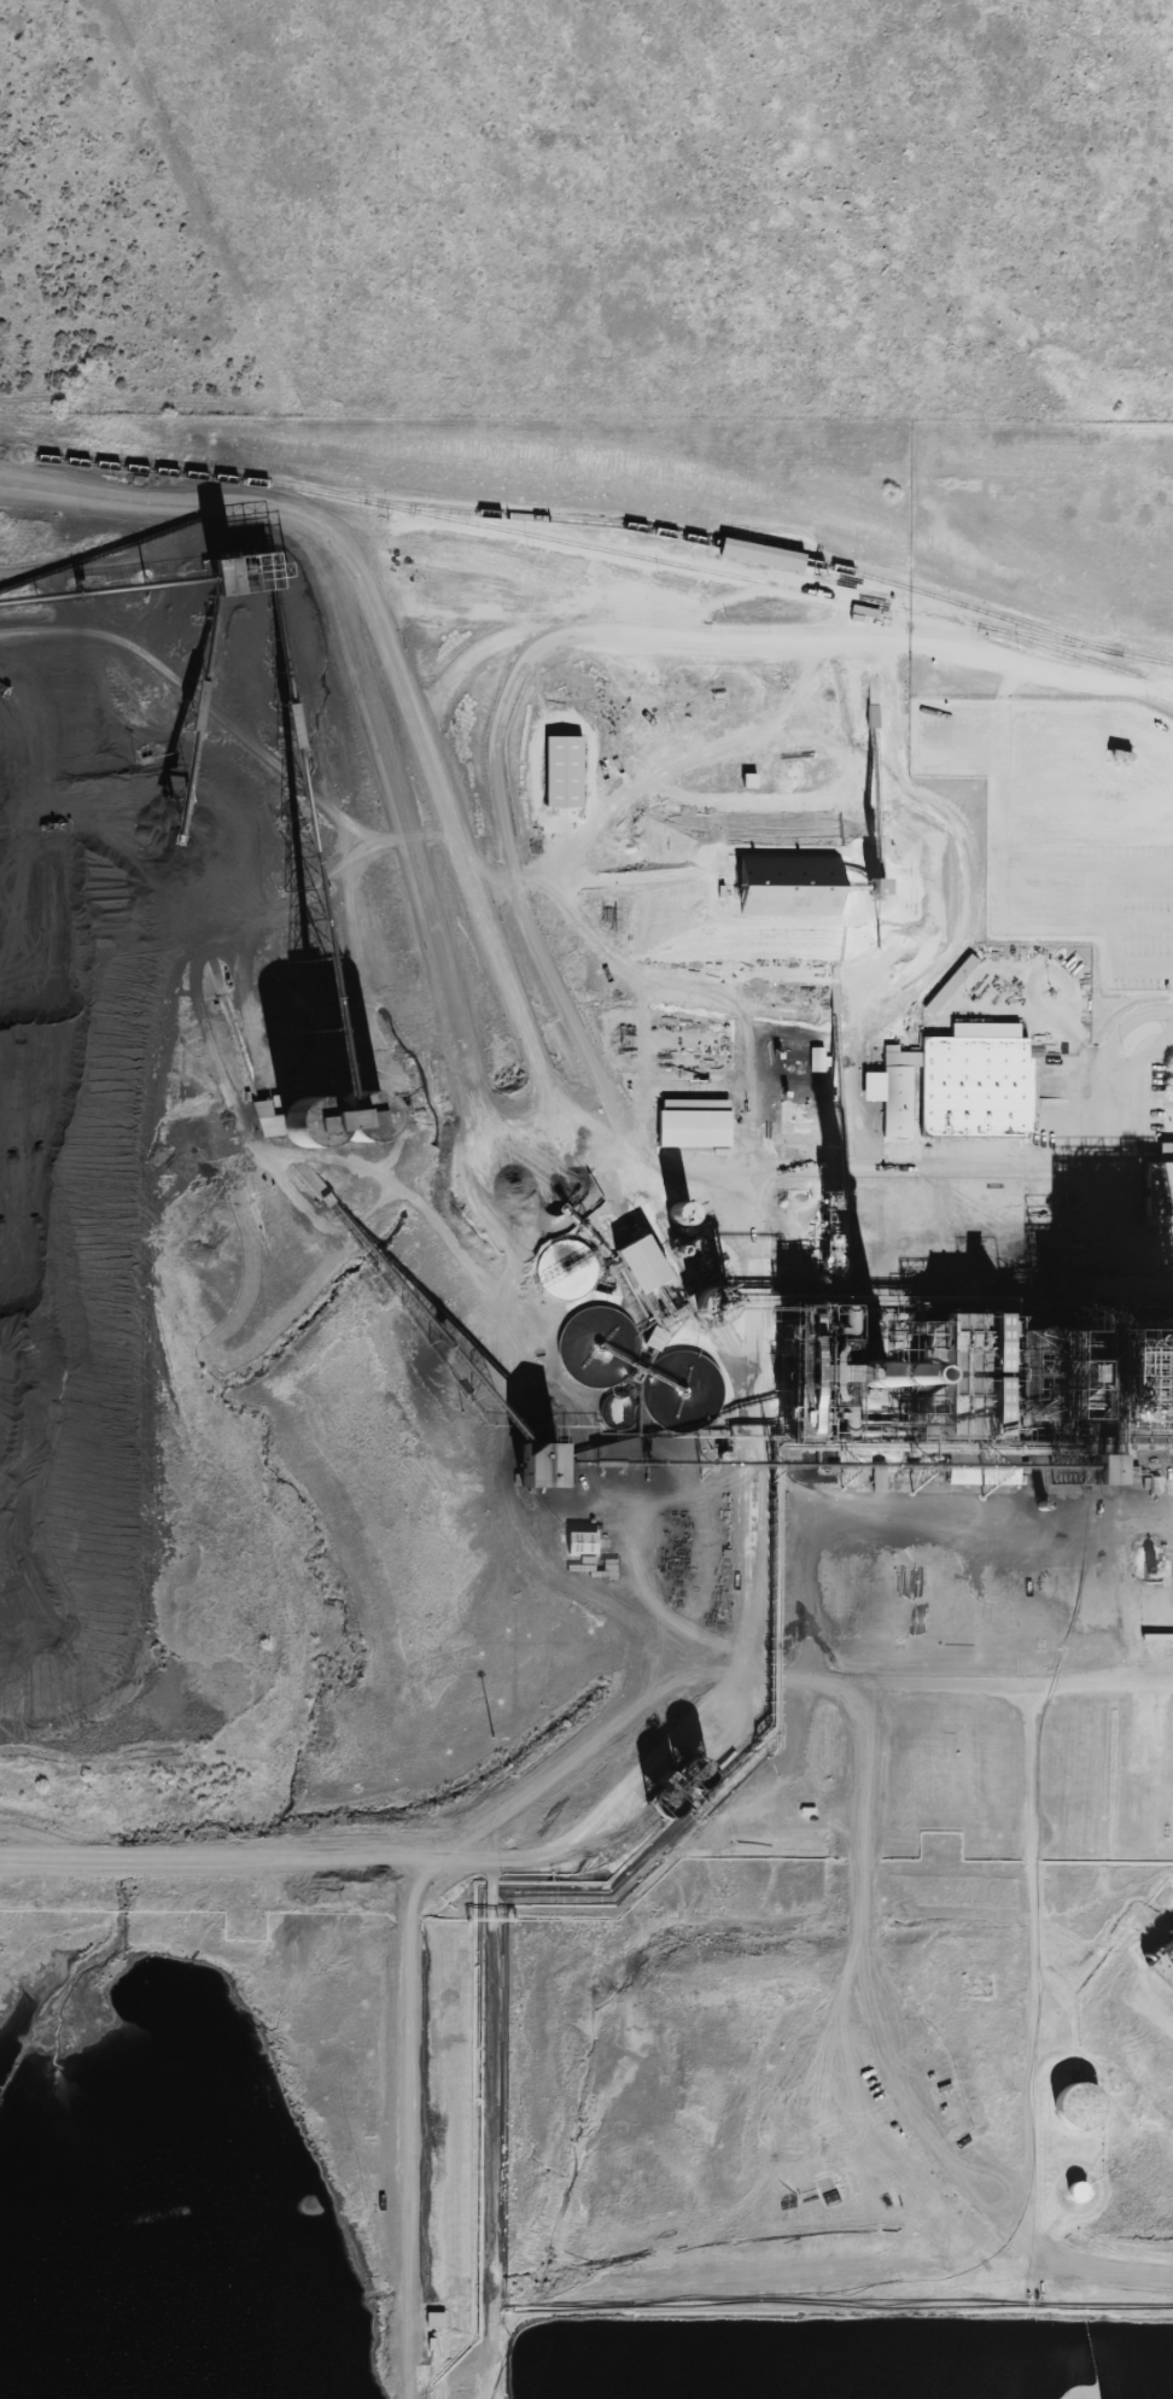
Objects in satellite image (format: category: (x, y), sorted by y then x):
railway: (611, 551)
building: (758, 558)
railway: (778, 560)
railway: (1058, 644)
road: (1084, 834)
building: (781, 887)
building: (945, 991)
building: (973, 1085)
building: (691, 1121)
road: (1102, 1126)
building: (1159, 1183)
building: (635, 1266)
railway: (1125, 1298)
building: (975, 1365)
chimney: (876, 1374)
building: (1102, 1405)
power plant: (585, 1407)
building: (532, 1466)
road: (809, 1600)
road: (415, 1930)
road: (1035, 1962)
building: (1161, 1967)
road: (889, 2062)
road: (1096, 2300)

